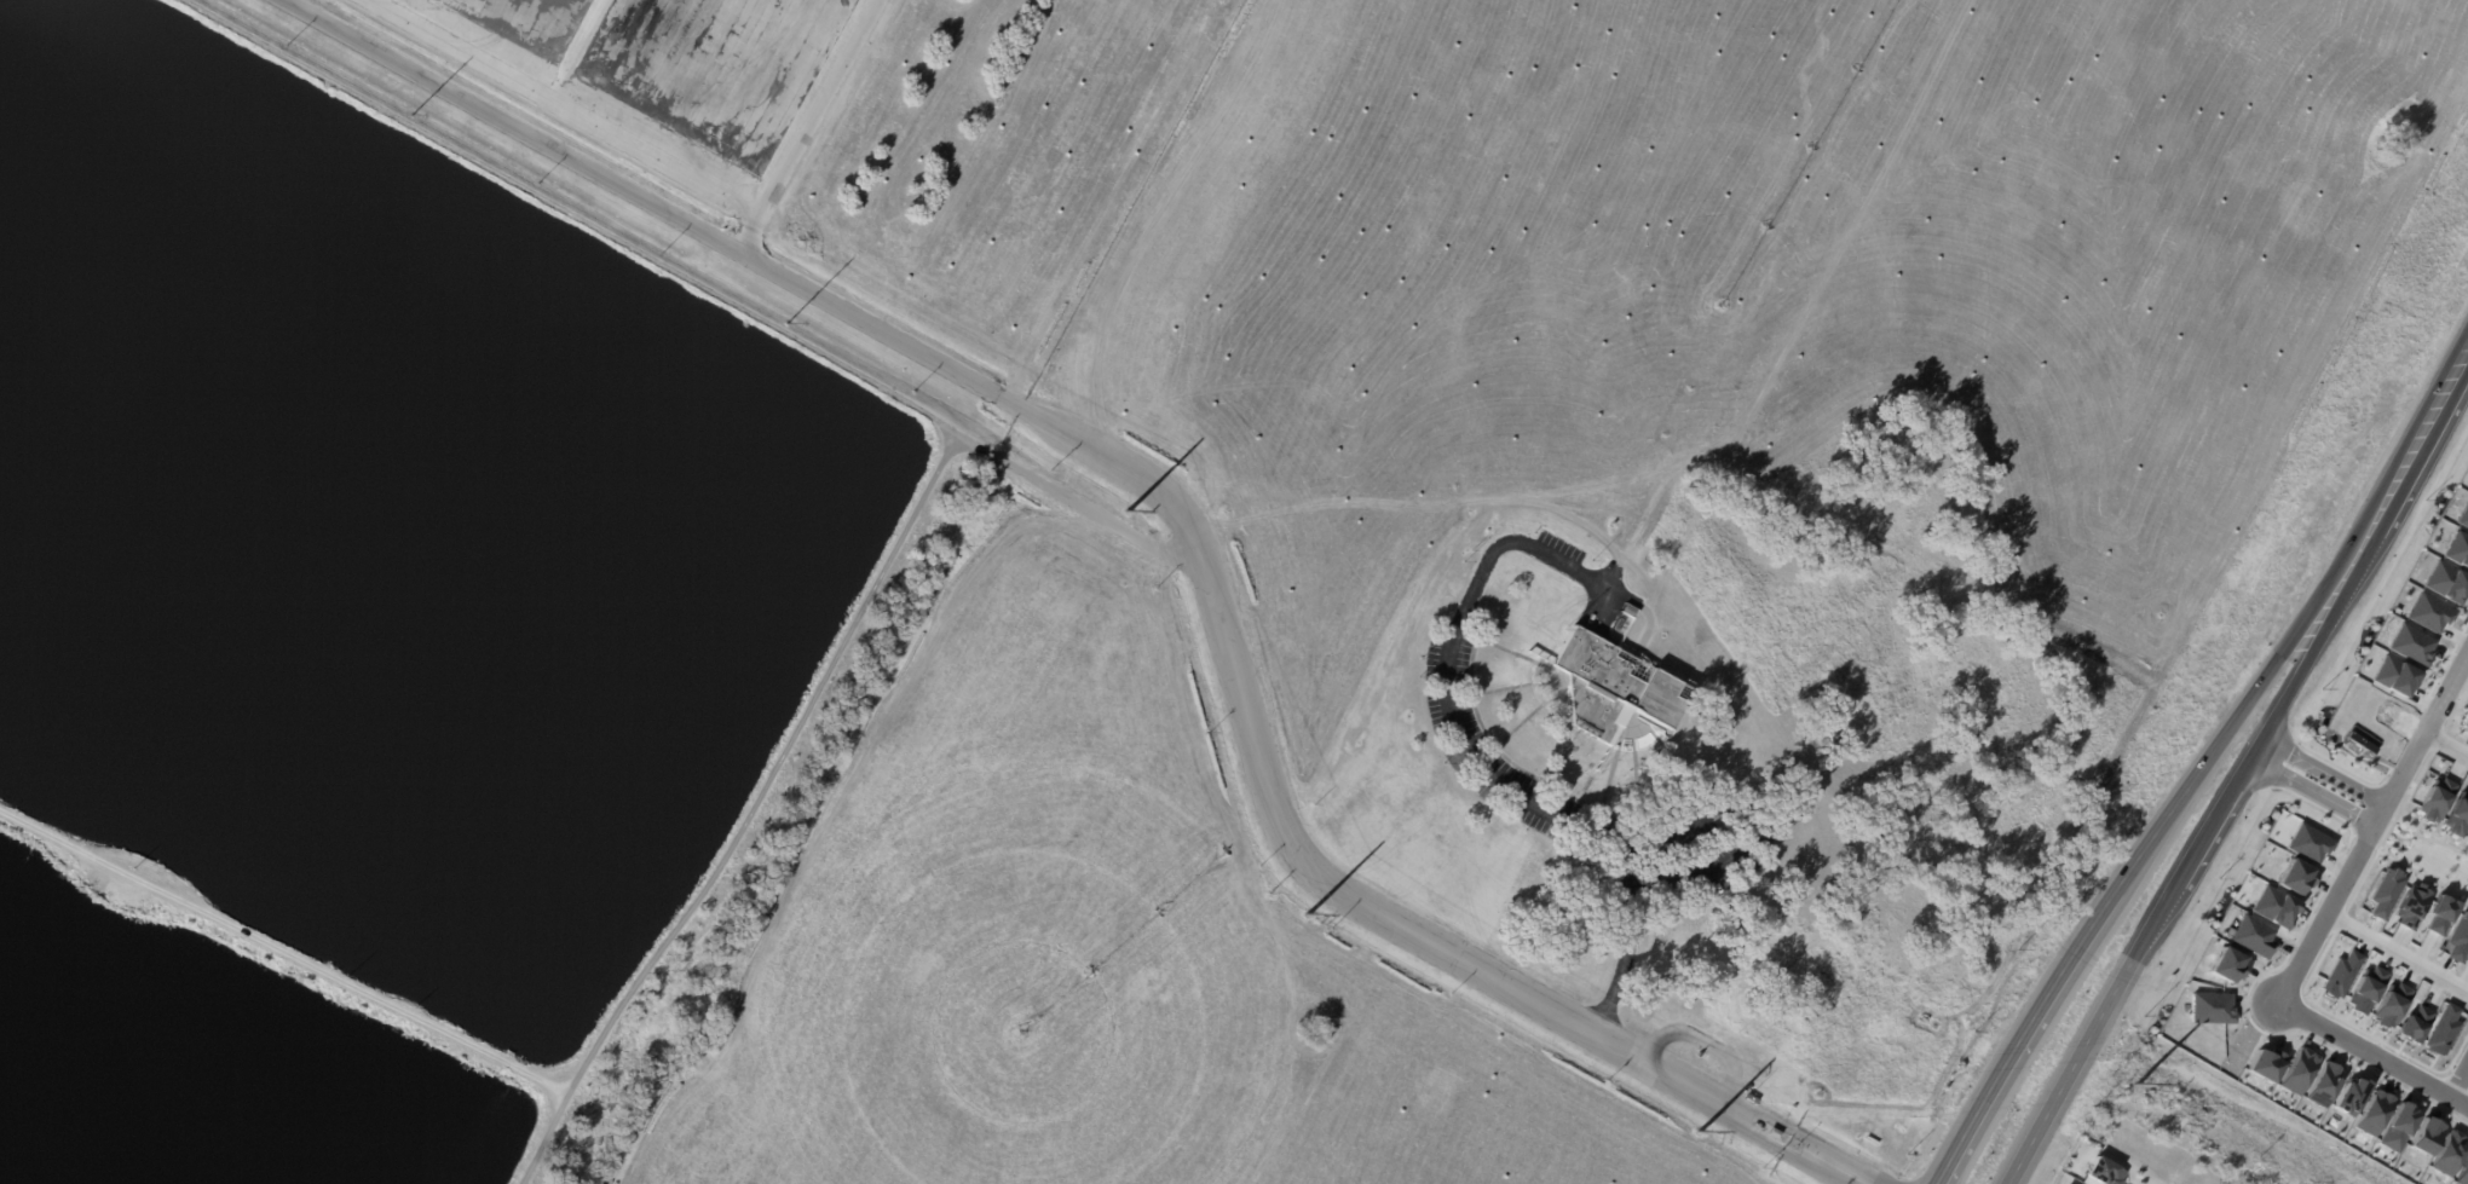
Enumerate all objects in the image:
power tower: (414, 111)
road: (811, 126)
road: (1161, 220)
crop: (1661, 231)
road: (763, 265)
road: (688, 285)
road: (2401, 468)
power tower: (1134, 513)
building: (2463, 515)
building: (2457, 549)
wastewater plant: (425, 566)
building: (1544, 581)
building: (2445, 582)
road: (1604, 591)
building: (2427, 612)
building: (2410, 645)
building: (2393, 675)
building: (1614, 688)
building: (2464, 724)
building: (2360, 739)
road: (2445, 744)
road: (2324, 768)
road: (2310, 791)
road: (1521, 796)
building: (2433, 798)
road: (745, 814)
building: (2456, 814)
road: (2370, 827)
building: (2467, 838)
building: (2306, 842)
building: (2294, 876)
road: (2122, 877)
road: (2174, 886)
building: (2382, 891)
building: (2409, 905)
building: (2272, 907)
building: (2439, 914)
power tower: (1311, 923)
building: (2250, 935)
road: (1625, 936)
building: (2457, 936)
crop: (1071, 945)
road: (284, 949)
road: (2397, 949)
road: (1452, 952)
building: (2467, 960)
building: (2226, 964)
building: (2337, 975)
building: (2363, 989)
building: (2388, 1004)
building: (2209, 1007)
building: (2411, 1024)
building: (2440, 1029)
road: (2370, 1059)
building: (2264, 1063)
building: (2295, 1070)
building: (2320, 1084)
power tower: (2147, 1086)
road: (2460, 1091)
building: (2348, 1095)
building: (2371, 1111)
building: (2395, 1126)
building: (1775, 1133)
building: (2423, 1134)
power tower: (1706, 1137)
building: (2446, 1153)
building: (2103, 1171)
building: (2462, 1172)
building: (2068, 1183)

